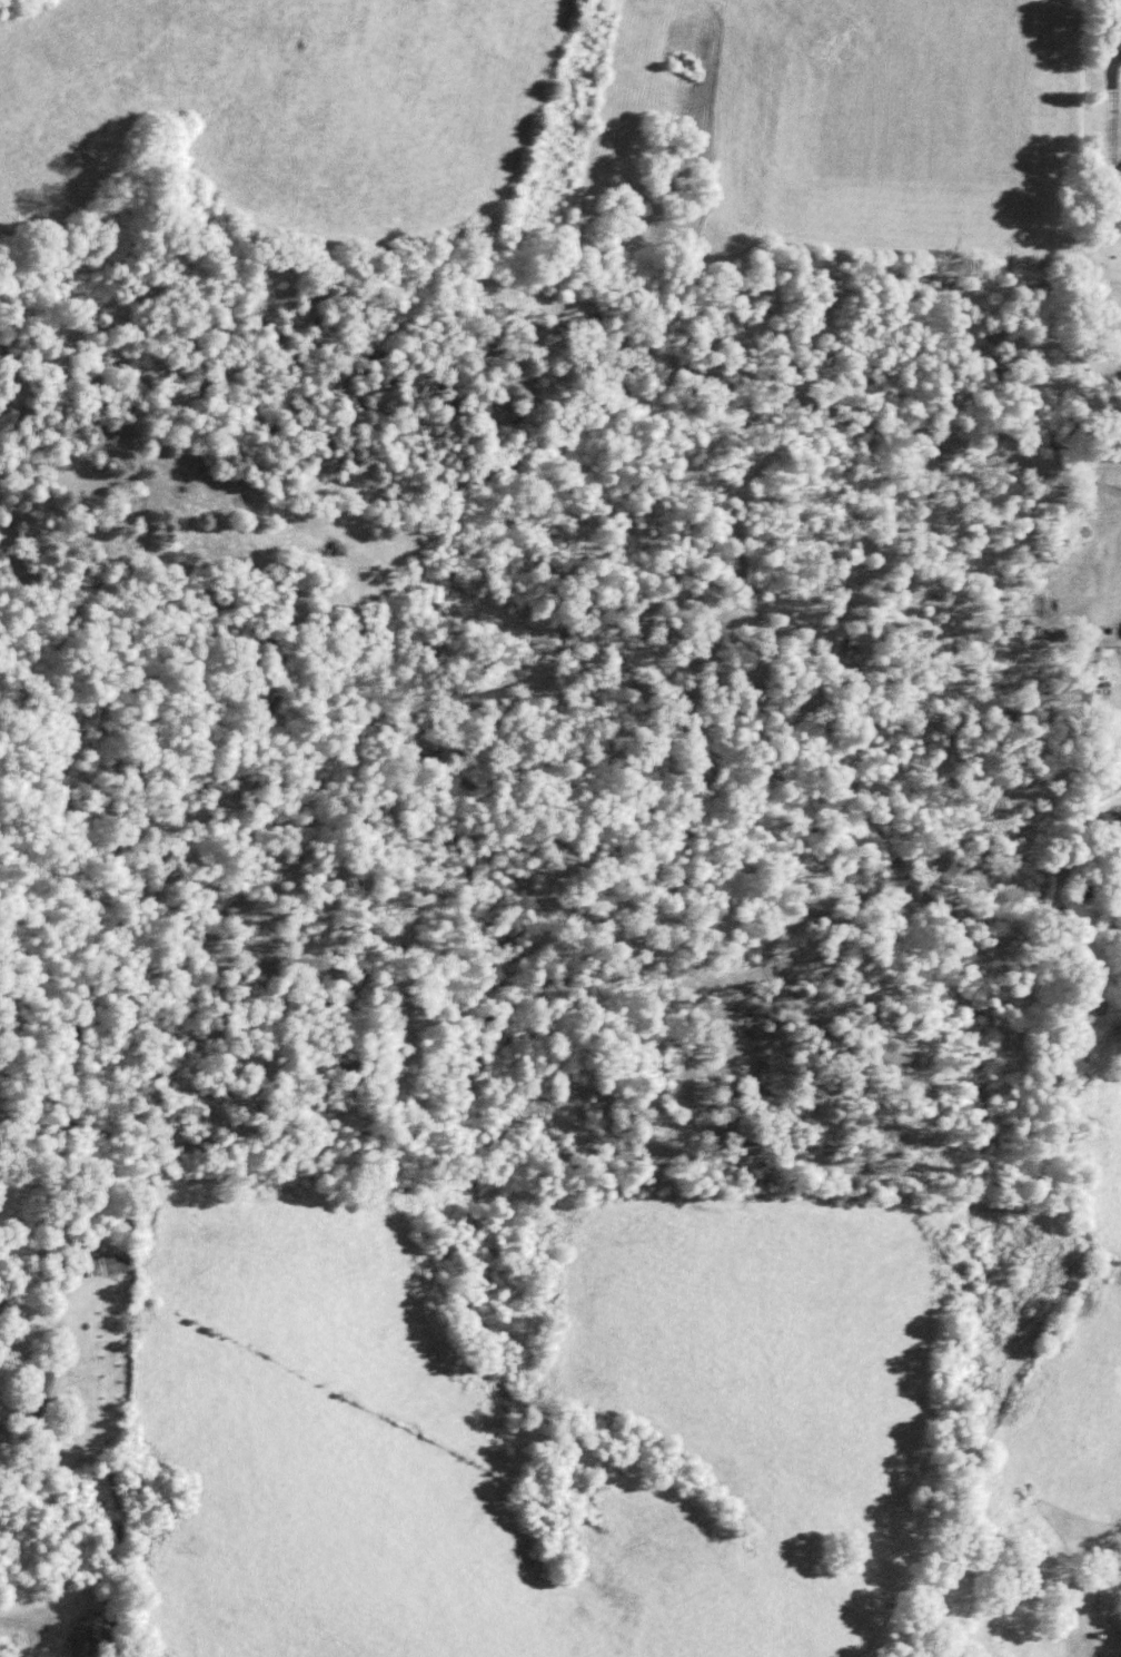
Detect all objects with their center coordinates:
building: (105, 1265)
building: (83, 1638)

